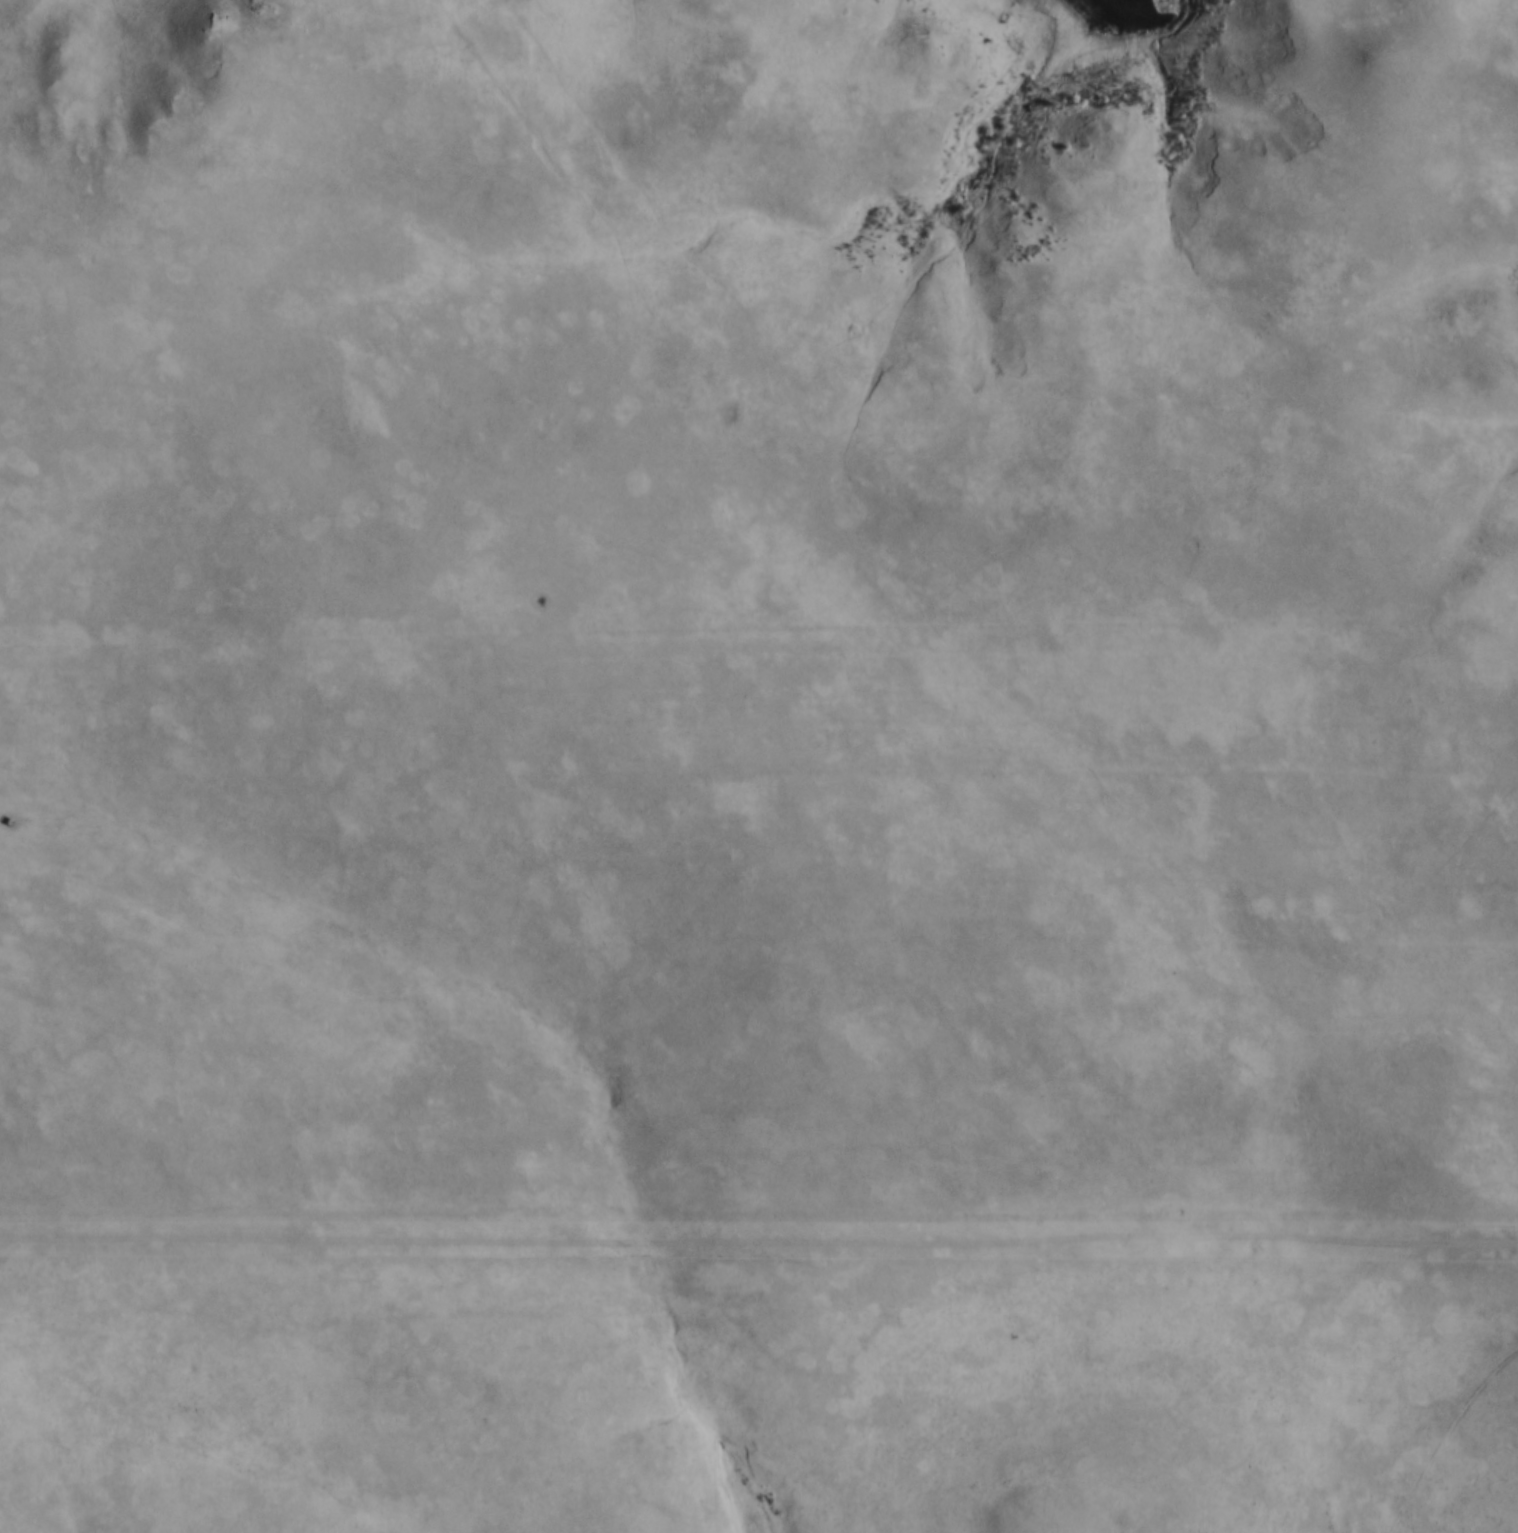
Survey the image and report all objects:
road: (759, 1240)

